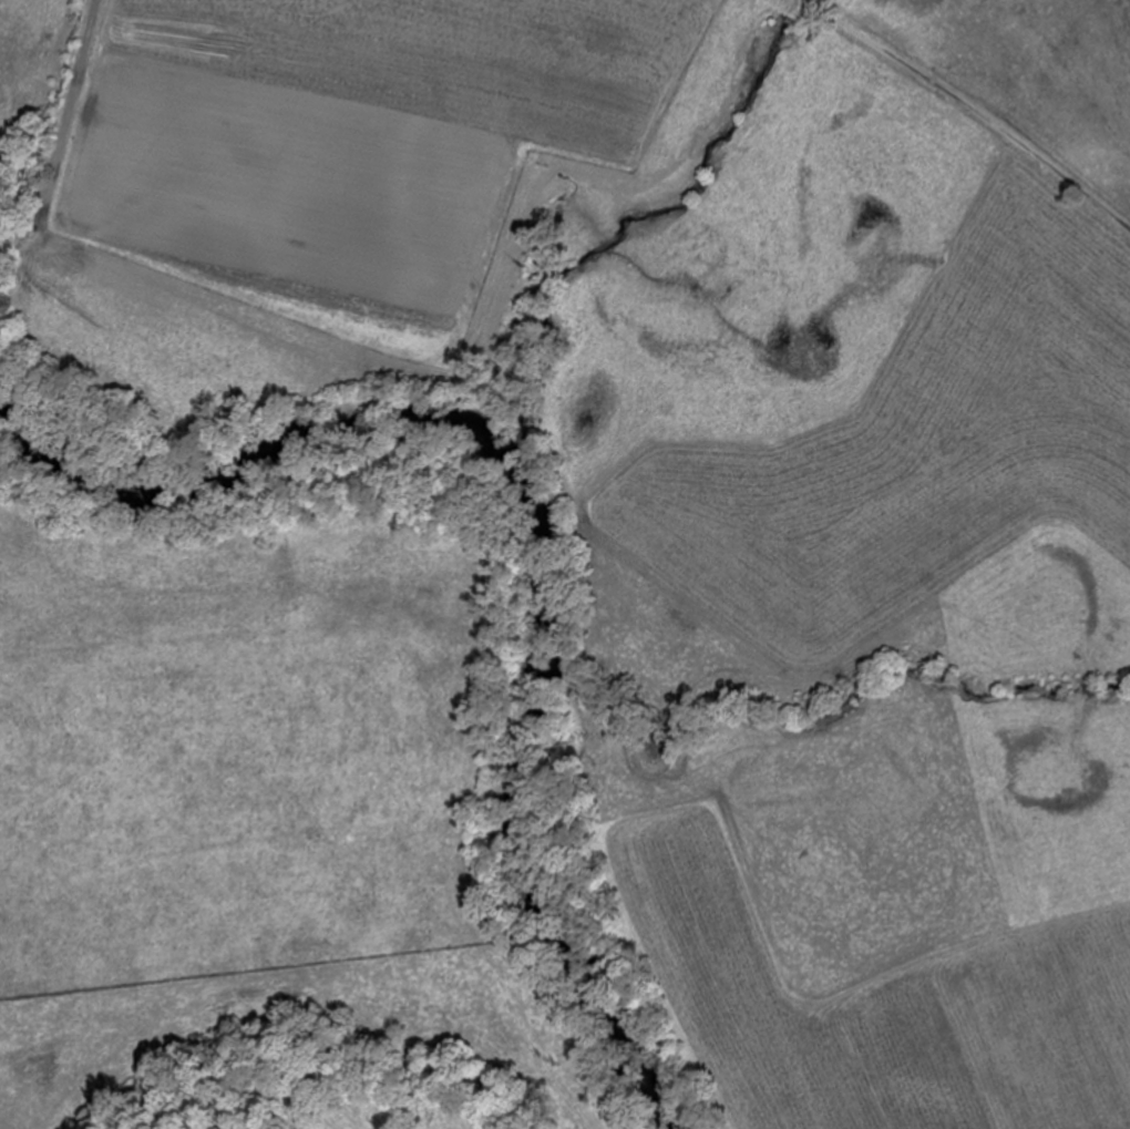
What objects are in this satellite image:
road: (970, 110)

